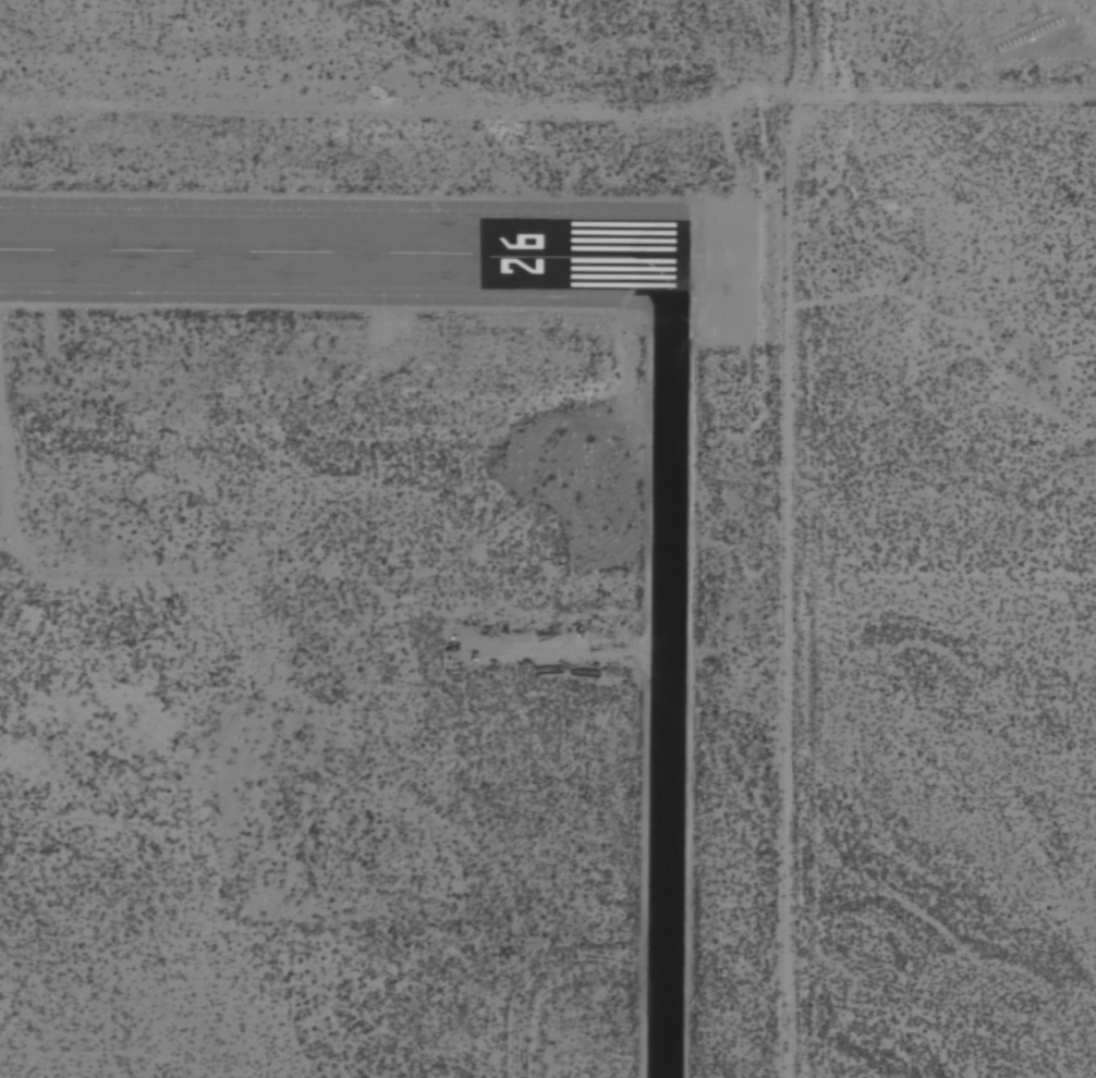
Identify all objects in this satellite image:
airport runway: (332, 224)
airport: (397, 538)
airport taxiway: (662, 651)

